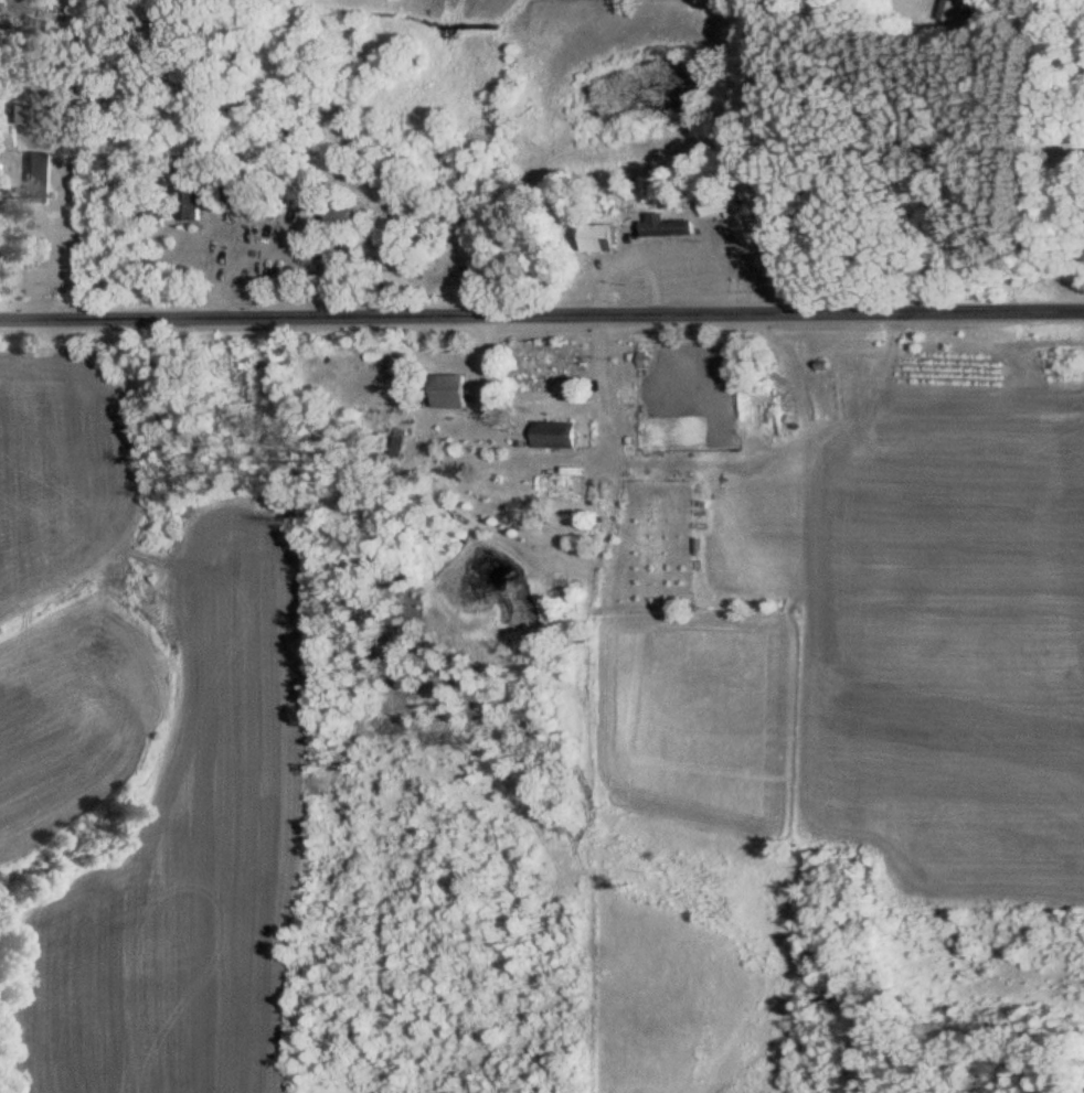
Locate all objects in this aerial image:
building: (948, 12)
building: (39, 178)
building: (195, 203)
building: (346, 217)
building: (668, 226)
building: (604, 237)
road: (542, 313)
building: (449, 392)
building: (552, 435)

